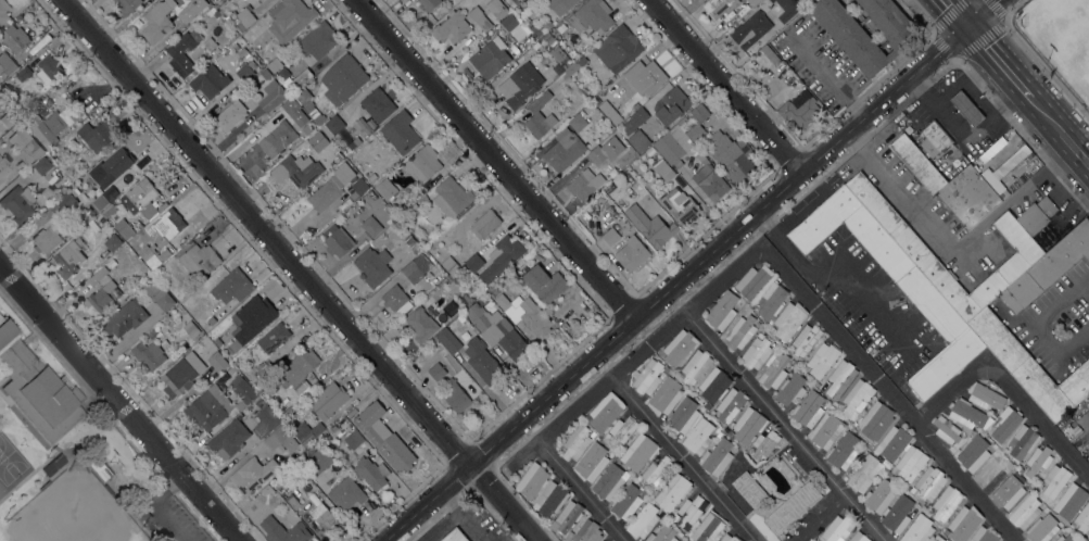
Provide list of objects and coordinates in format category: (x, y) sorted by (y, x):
building: (257, 0)
building: (771, 1)
building: (752, 2)
building: (428, 3)
building: (127, 5)
building: (560, 5)
building: (719, 7)
building: (787, 9)
building: (498, 10)
building: (3, 11)
road: (958, 11)
building: (187, 13)
building: (592, 16)
building: (243, 17)
building: (479, 18)
building: (290, 20)
building: (157, 21)
building: (546, 24)
building: (515, 26)
building: (533, 26)
building: (452, 27)
building: (751, 29)
building: (850, 36)
building: (547, 37)
building: (14, 38)
building: (318, 39)
building: (529, 40)
building: (618, 49)
building: (557, 52)
building: (182, 54)
building: (770, 54)
building: (490, 58)
road: (999, 59)
building: (7, 63)
building: (274, 64)
building: (575, 64)
building: (50, 65)
building: (557, 68)
building: (23, 72)
building: (245, 72)
road: (825, 74)
building: (645, 76)
building: (293, 77)
building: (342, 79)
building: (210, 80)
building: (583, 83)
building: (520, 85)
road: (724, 85)
building: (1, 88)
building: (271, 96)
building: (49, 101)
building: (322, 103)
building: (378, 104)
building: (636, 105)
building: (671, 105)
building: (290, 106)
building: (800, 108)
building: (966, 108)
building: (610, 111)
building: (700, 112)
building: (78, 113)
building: (230, 114)
building: (315, 115)
building: (540, 115)
building: (7, 118)
building: (26, 118)
building: (635, 119)
building: (682, 121)
building: (578, 122)
building: (334, 124)
building: (47, 127)
road: (1060, 128)
building: (400, 131)
building: (695, 131)
building: (97, 135)
building: (280, 135)
building: (934, 138)
building: (318, 139)
building: (638, 140)
building: (353, 141)
building: (25, 144)
building: (673, 144)
building: (565, 149)
building: (650, 150)
building: (727, 154)
building: (596, 155)
road: (493, 158)
building: (116, 163)
building: (423, 163)
building: (916, 163)
building: (42, 164)
building: (3, 167)
building: (663, 168)
building: (297, 169)
building: (612, 174)
building: (123, 177)
building: (710, 180)
building: (585, 184)
building: (60, 185)
building: (331, 187)
building: (609, 187)
building: (358, 188)
building: (387, 188)
building: (75, 190)
building: (48, 192)
building: (973, 194)
building: (452, 197)
building: (139, 199)
building: (100, 201)
building: (62, 204)
building: (15, 205)
building: (681, 205)
building: (415, 207)
building: (36, 209)
building: (107, 211)
building: (890, 221)
building: (92, 224)
building: (167, 224)
building: (485, 224)
building: (371, 225)
building: (650, 225)
building: (124, 228)
building: (610, 236)
building: (46, 240)
building: (338, 240)
building: (113, 242)
road: (953, 243)
building: (416, 247)
building: (632, 253)
building: (152, 255)
building: (502, 256)
building: (69, 257)
road: (746, 257)
building: (199, 260)
building: (473, 262)
building: (373, 264)
building: (1015, 265)
building: (451, 266)
building: (1048, 266)
building: (416, 267)
road: (297, 269)
road: (686, 270)
road: (839, 270)
building: (97, 275)
building: (752, 280)
building: (545, 282)
building: (452, 284)
building: (232, 286)
building: (479, 290)
building: (159, 293)
building: (103, 295)
building: (394, 298)
building: (926, 298)
building: (466, 299)
building: (771, 299)
building: (503, 301)
building: (722, 311)
building: (460, 316)
building: (125, 317)
building: (534, 317)
building: (211, 319)
building: (251, 319)
building: (788, 319)
building: (771, 322)
building: (420, 324)
building: (565, 325)
building: (190, 328)
building: (497, 330)
road: (1034, 330)
building: (740, 331)
building: (274, 337)
building: (449, 338)
building: (806, 339)
building: (217, 342)
building: (680, 347)
building: (755, 350)
building: (148, 354)
building: (821, 360)
building: (217, 361)
building: (482, 361)
building: (696, 365)
building: (265, 366)
building: (1030, 366)
building: (229, 369)
building: (773, 369)
building: (299, 370)
building: (436, 370)
building: (181, 374)
building: (648, 377)
building: (840, 378)
road: (1005, 383)
building: (714, 385)
building: (37, 388)
building: (242, 389)
building: (792, 389)
building: (456, 395)
building: (666, 395)
building: (908, 395)
building: (985, 397)
building: (857, 398)
building: (300, 400)
building: (328, 400)
building: (258, 402)
road: (118, 403)
building: (731, 404)
building: (707, 405)
building: (827, 406)
building: (208, 407)
building: (605, 412)
building: (966, 413)
building: (683, 415)
building: (818, 419)
building: (876, 419)
building: (265, 422)
building: (1005, 422)
building: (749, 424)
road: (786, 426)
building: (333, 428)
building: (946, 429)
building: (622, 430)
building: (307, 431)
building: (718, 431)
building: (230, 436)
building: (698, 436)
building: (383, 437)
building: (280, 438)
building: (353, 439)
building: (577, 441)
building: (1023, 441)
building: (764, 443)
building: (749, 450)
building: (845, 450)
building: (638, 452)
building: (973, 453)
building: (914, 454)
building: (717, 456)
road: (684, 457)
building: (319, 458)
park: (71, 460)
building: (1037, 460)
park: (10, 462)
building: (592, 462)
building: (885, 462)
building: (371, 471)
building: (655, 471)
building: (864, 473)
building: (252, 474)
building: (1020, 474)
building: (996, 476)
building: (610, 479)
building: (512, 480)
building: (532, 480)
building: (1055, 480)
building: (929, 482)
building: (749, 488)
building: (267, 489)
building: (672, 491)
building: (1008, 491)
building: (346, 493)
building: (879, 495)
building: (550, 499)
building: (292, 501)
building: (626, 501)
building: (1069, 501)
building: (946, 503)
road: (156, 507)
building: (793, 507)
building: (1043, 507)
building: (1024, 511)
building: (688, 512)
road: (465, 514)
building: (897, 514)
building: (322, 516)
building: (567, 516)
building: (666, 517)
road: (821, 518)
building: (1081, 518)
building: (643, 520)
building: (964, 523)
road: (442, 525)
building: (708, 527)
building: (837, 528)
building: (1042, 528)
building: (917, 529)
building: (283, 530)
building: (587, 531)
building: (662, 534)
building: (983, 534)
building: (454, 536)
building: (568, 536)
building: (859, 537)
building: (730, 538)
building: (938, 538)
building: (1065, 538)
building: (682, 539)
building: (602, 540)
building: (1078, 540)

